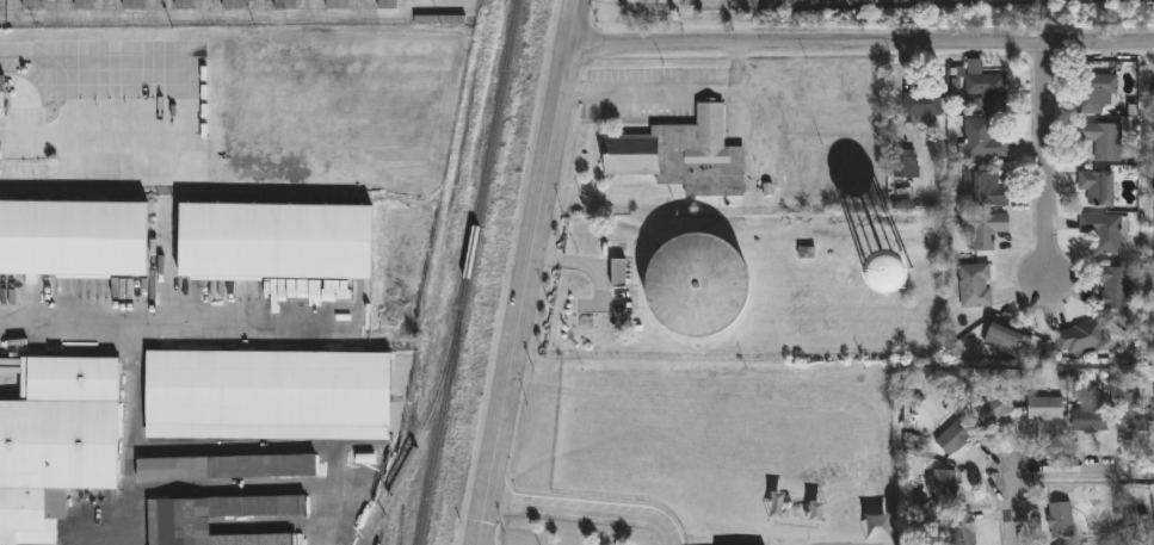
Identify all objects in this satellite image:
building: (132, 4)
building: (183, 4)
building: (233, 4)
building: (285, 4)
building: (337, 4)
building: (387, 4)
building: (32, 5)
building: (84, 5)
road: (862, 42)
building: (111, 50)
building: (987, 91)
building: (1, 92)
road: (673, 92)
building: (1094, 92)
road: (67, 101)
building: (921, 106)
building: (1153, 124)
building: (982, 140)
building: (1104, 140)
building: (681, 155)
road: (1051, 160)
building: (903, 163)
building: (1098, 187)
building: (986, 188)
building: (985, 228)
building: (1105, 230)
building: (73, 240)
building: (274, 242)
railway: (468, 272)
road: (530, 272)
building: (617, 273)
building: (896, 278)
building: (975, 285)
building: (697, 286)
building: (1116, 287)
road: (174, 310)
building: (1006, 337)
building: (1082, 340)
building: (266, 396)
building: (1047, 408)
building: (995, 409)
building: (1133, 413)
building: (1092, 415)
building: (955, 436)
railway: (416, 438)
building: (55, 440)
building: (226, 469)
road: (1050, 470)
building: (940, 487)
road: (586, 512)
building: (1060, 519)
building: (178, 527)
building: (963, 529)

